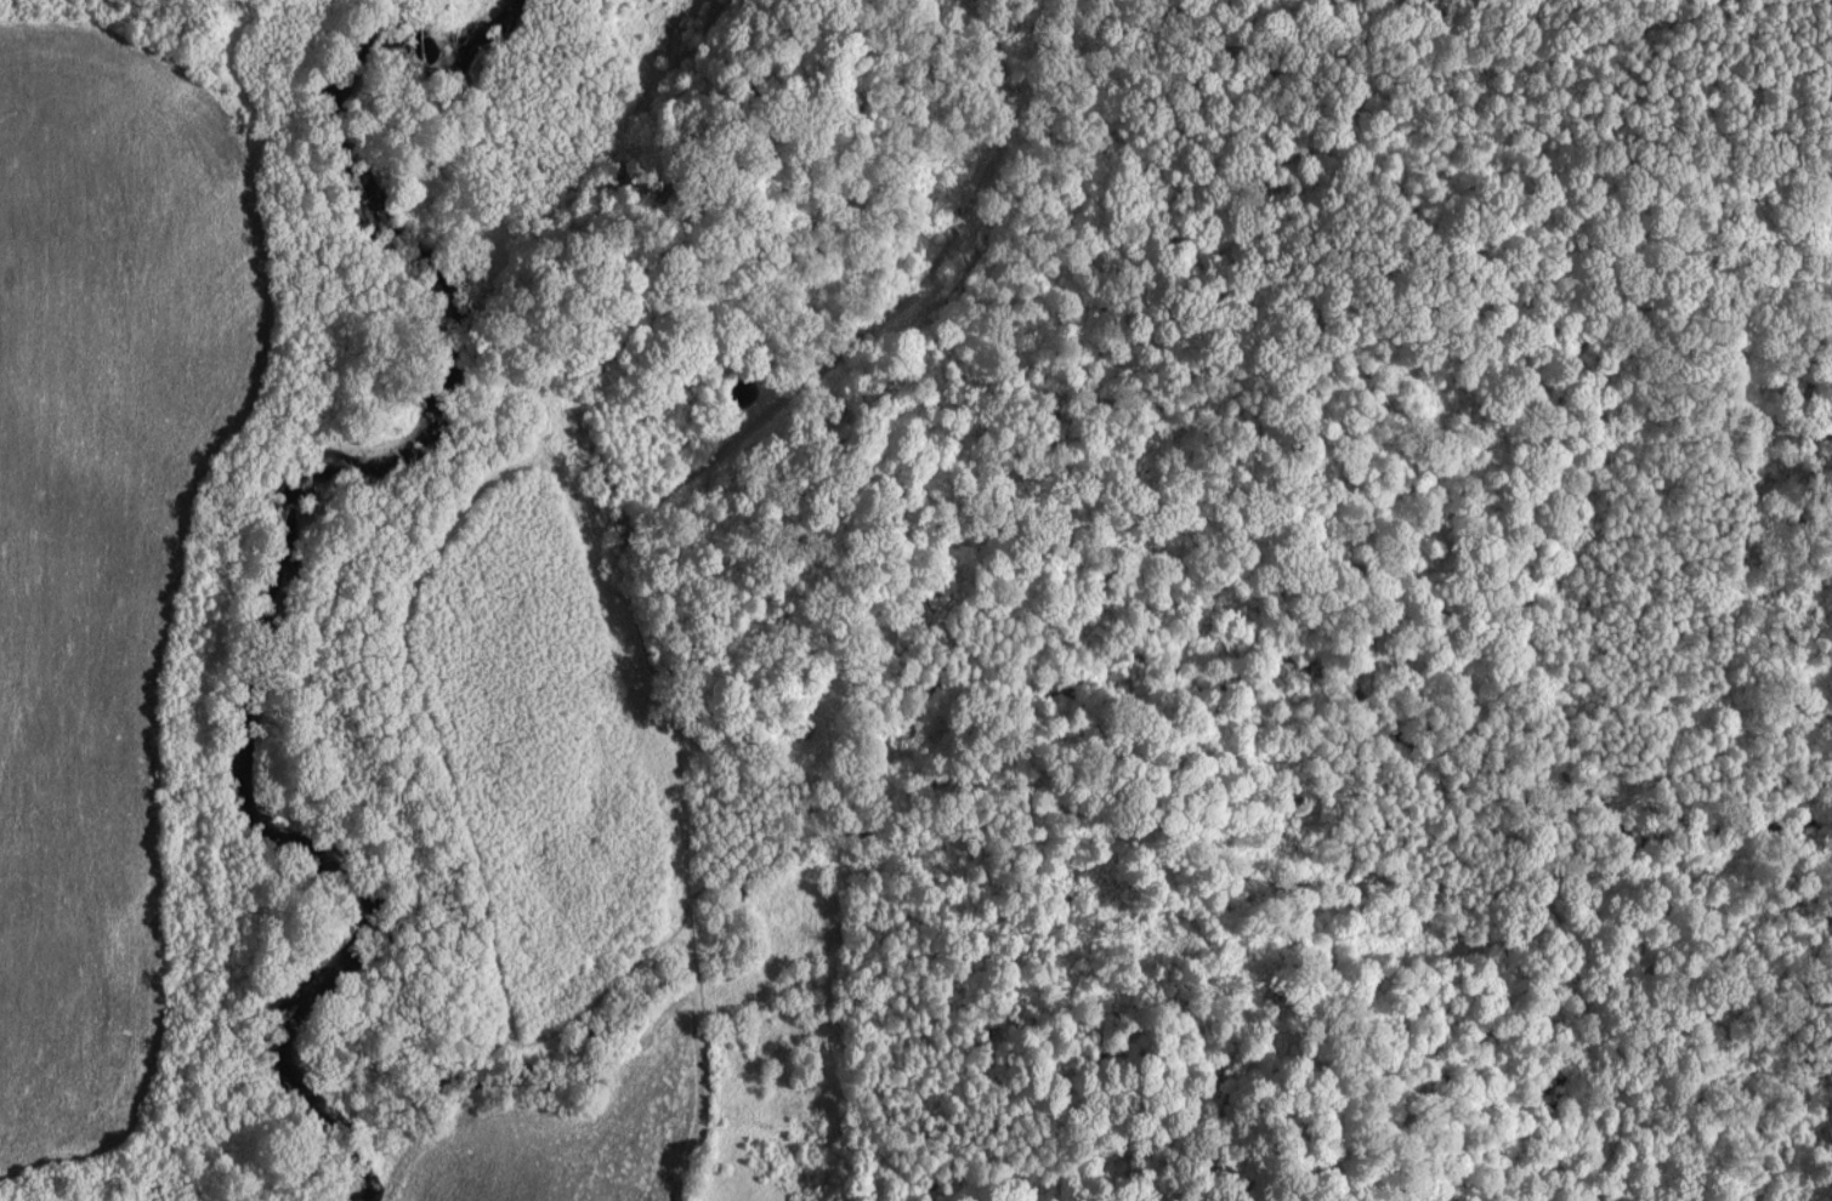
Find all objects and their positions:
road: (699, 1055)

